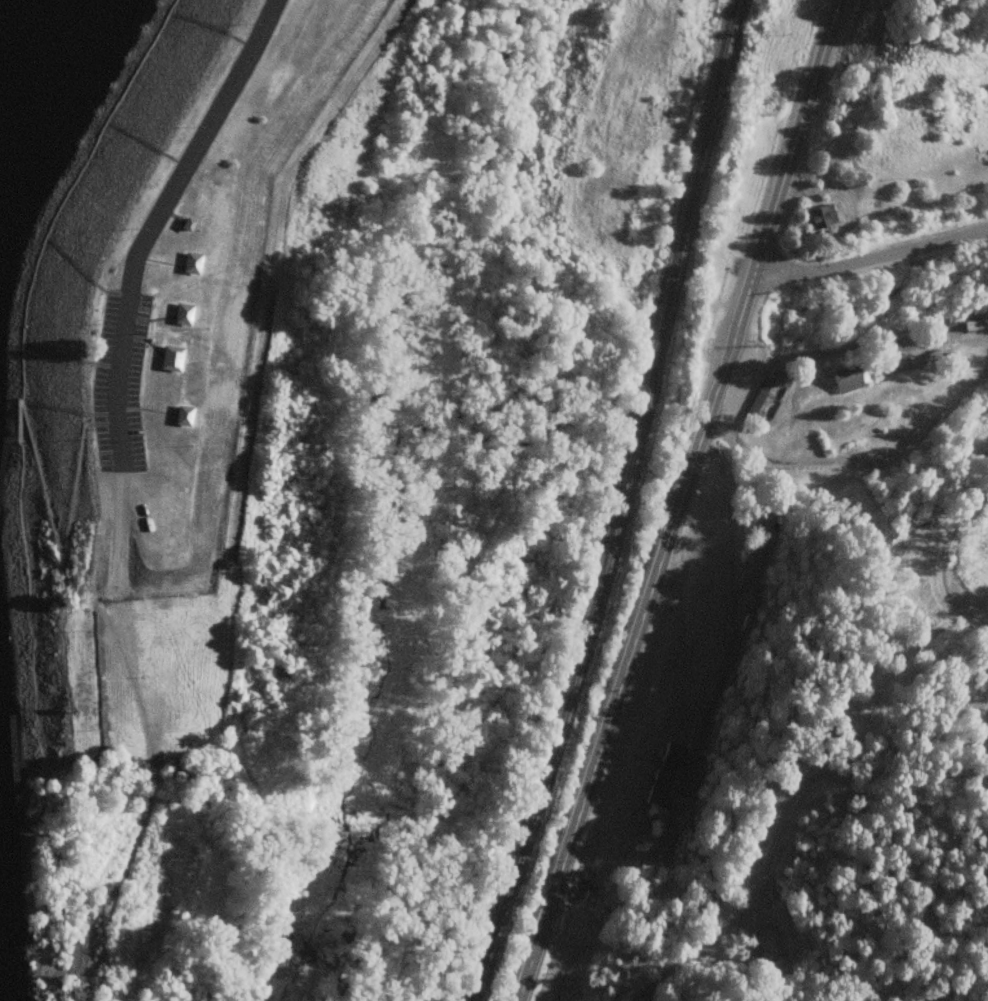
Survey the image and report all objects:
road: (159, 219)
road: (869, 257)
building: (200, 260)
building: (191, 311)
road: (817, 354)
building: (179, 355)
building: (191, 413)
road: (676, 500)
railway: (622, 507)
road: (942, 559)
road: (803, 779)

